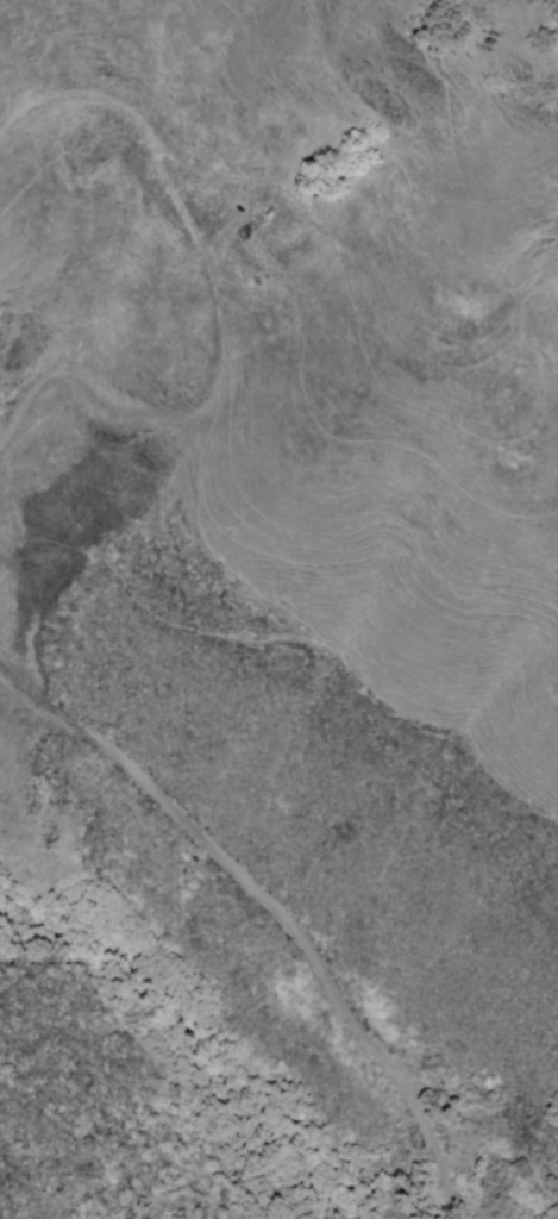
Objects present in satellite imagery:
road: (217, 304)
road: (219, 854)
road: (443, 1151)

